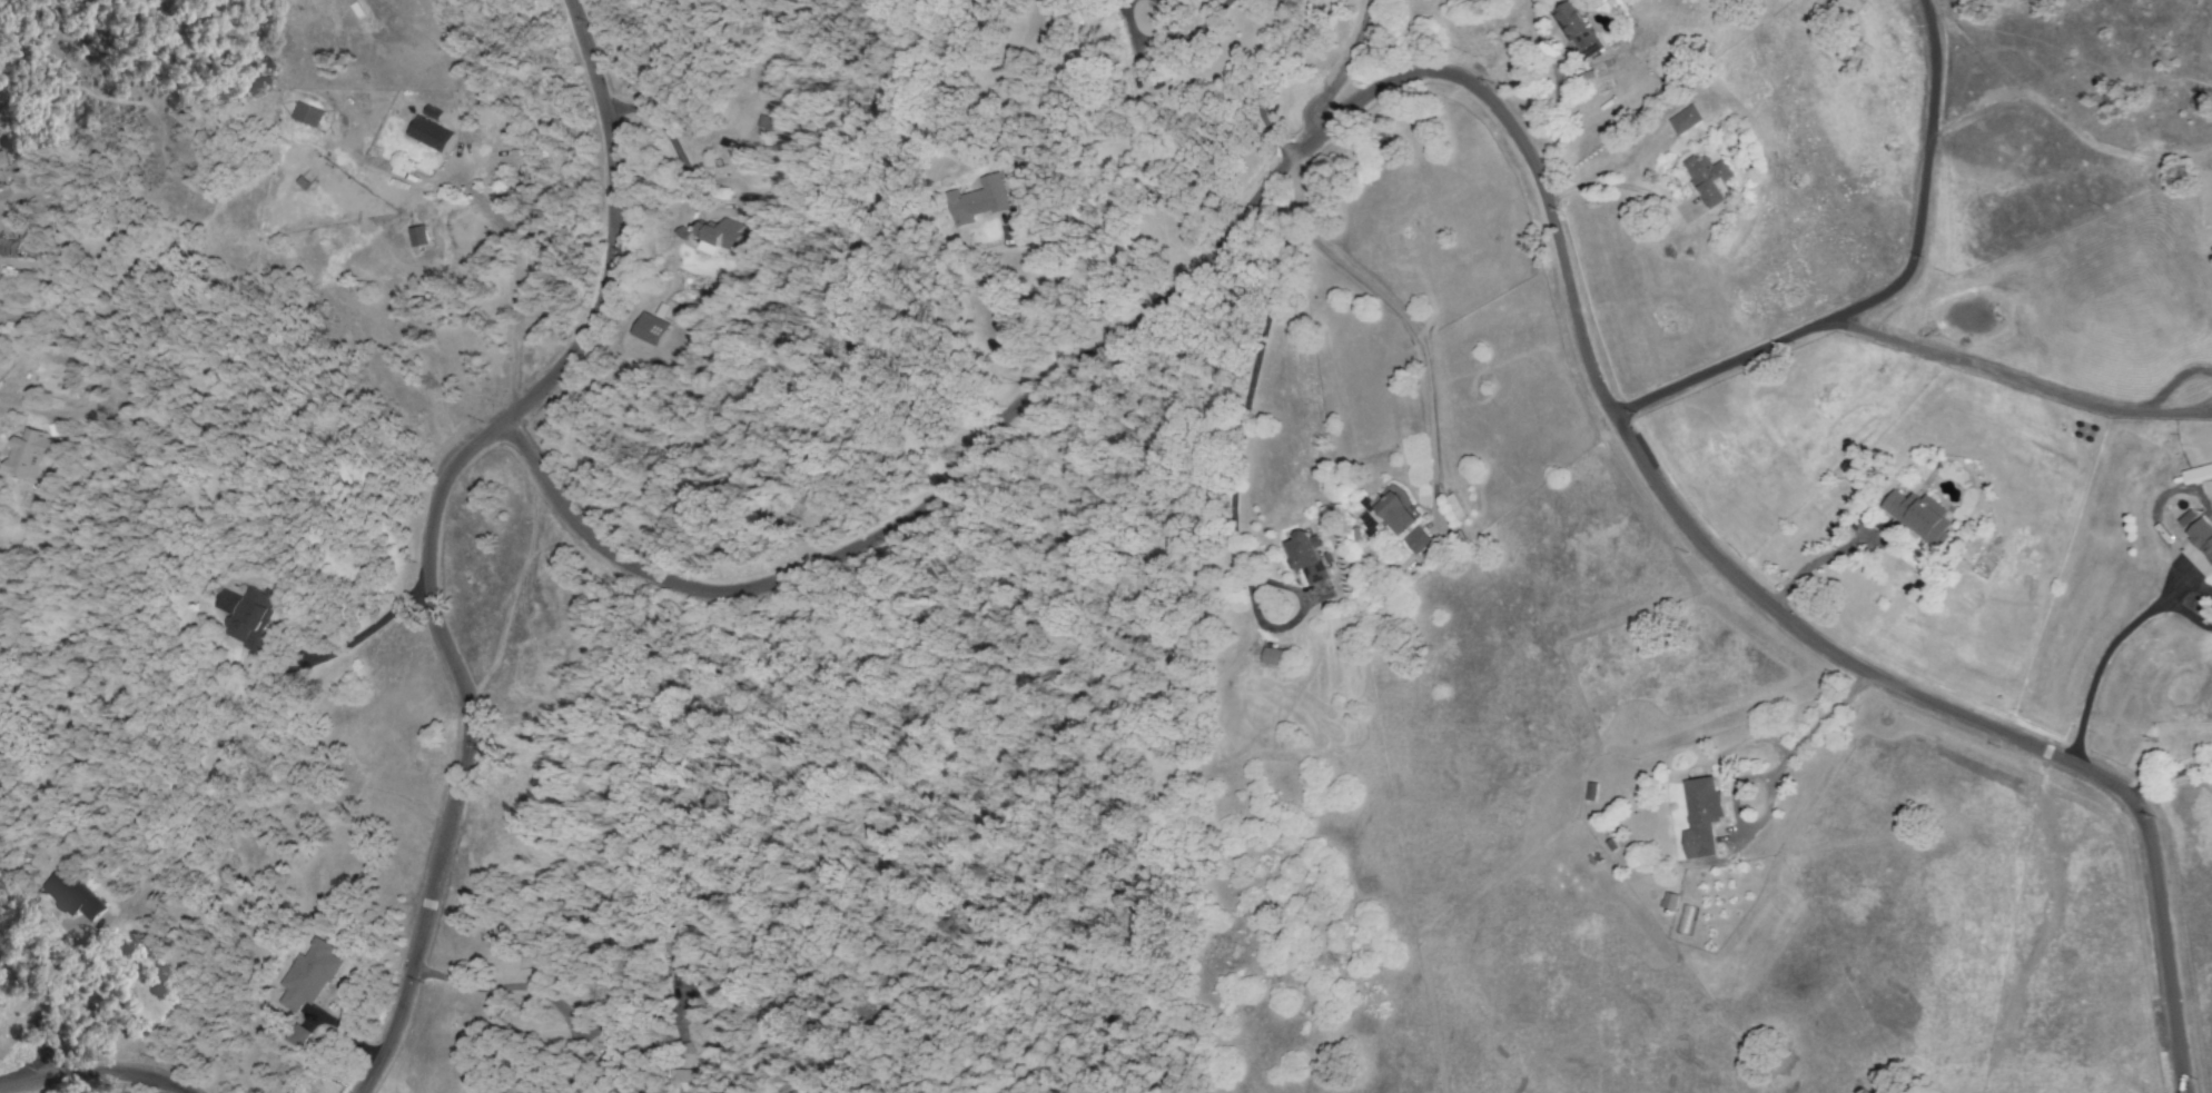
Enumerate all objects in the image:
road: (1167, 19)
road: (1204, 26)
building: (1577, 29)
road: (1136, 34)
road: (1341, 70)
road: (1401, 76)
road: (1263, 88)
building: (306, 113)
road: (1552, 119)
building: (1683, 119)
road: (2068, 126)
building: (428, 133)
road: (1929, 137)
building: (1708, 179)
building: (977, 200)
road: (492, 217)
building: (714, 236)
building: (419, 237)
building: (7, 247)
road: (1088, 250)
road: (1404, 318)
building: (648, 328)
road: (1765, 349)
road: (2020, 379)
road: (6, 396)
road: (1245, 403)
building: (29, 454)
building: (2198, 474)
building: (1385, 514)
building: (1918, 516)
road: (429, 527)
building: (2198, 534)
building: (1414, 539)
building: (1304, 557)
road: (1816, 558)
road: (2181, 585)
road: (2183, 610)
building: (244, 616)
road: (363, 634)
building: (1270, 656)
road: (2094, 672)
road: (1810, 732)
road: (2170, 776)
building: (1700, 816)
building: (70, 895)
building: (1668, 901)
road: (2166, 966)
building: (307, 975)
road: (523, 986)
road: (70, 1006)
road: (95, 1072)
building: (680, 1081)

